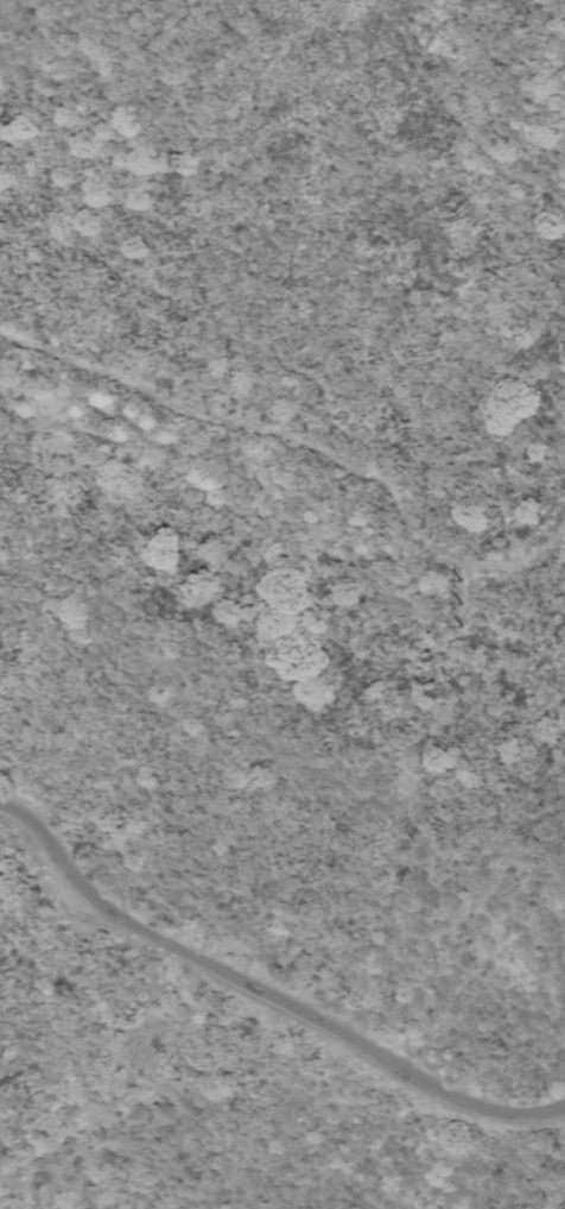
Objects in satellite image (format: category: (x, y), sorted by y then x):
power tower: (461, 604)
road: (265, 991)

